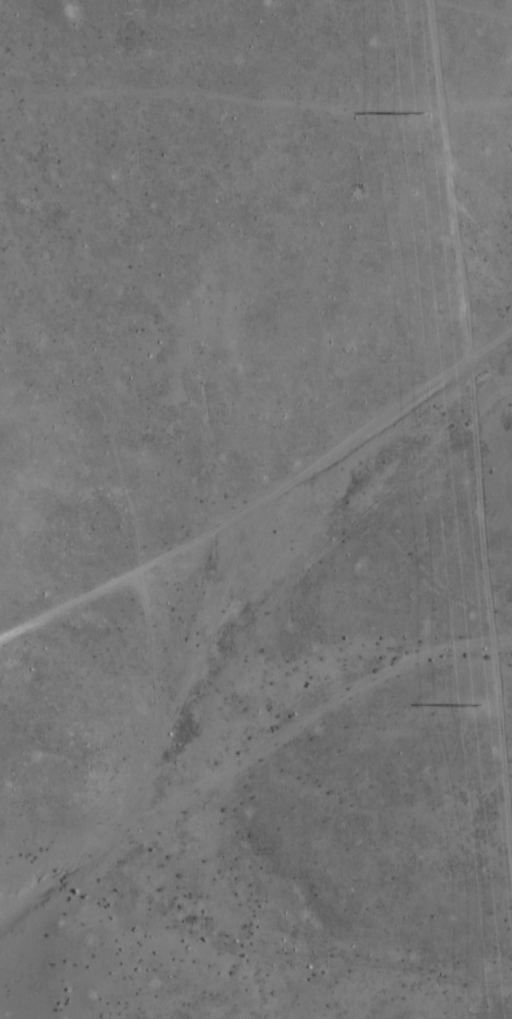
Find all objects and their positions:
power tower: (420, 117)
road: (266, 502)
road: (464, 509)
power tower: (475, 705)

